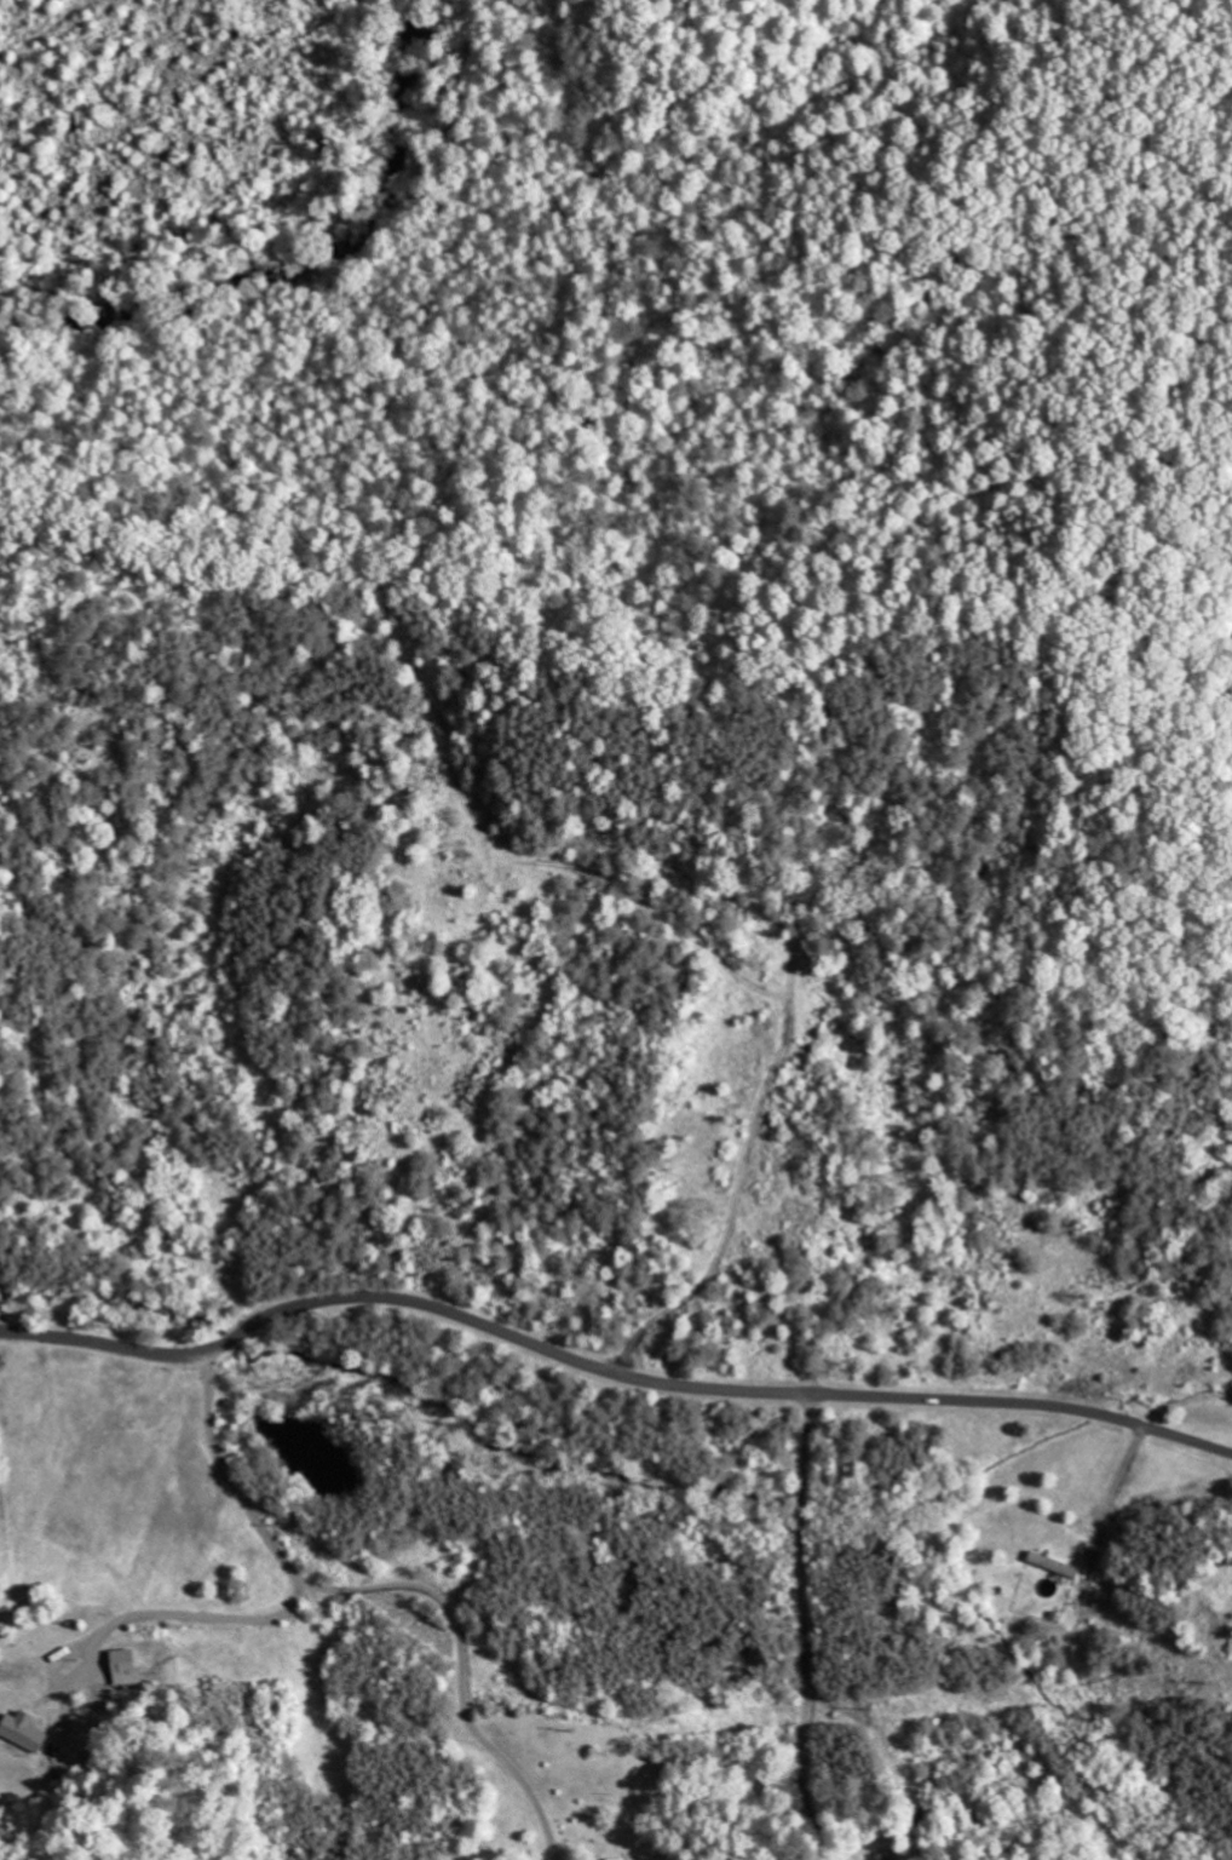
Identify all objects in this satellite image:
road: (606, 1373)
building: (132, 1666)
building: (39, 1735)
building: (622, 1859)

